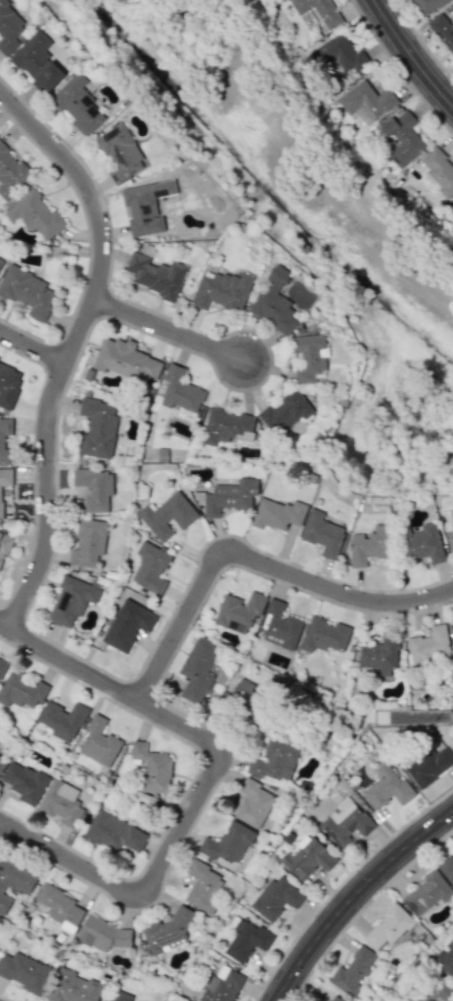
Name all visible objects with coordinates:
building: (427, 5)
building: (319, 12)
building: (9, 28)
building: (442, 31)
building: (340, 54)
road: (410, 55)
building: (37, 62)
building: (367, 101)
building: (78, 104)
building: (403, 137)
building: (121, 153)
building: (440, 170)
building: (10, 172)
building: (452, 204)
building: (146, 206)
building: (34, 214)
building: (1, 262)
building: (156, 275)
building: (27, 291)
building: (222, 291)
building: (275, 302)
road: (169, 328)
road: (33, 346)
road: (74, 346)
building: (310, 357)
building: (126, 360)
building: (9, 384)
building: (180, 390)
building: (286, 411)
building: (227, 426)
building: (97, 428)
building: (2, 440)
building: (4, 484)
building: (94, 488)
building: (228, 497)
building: (278, 514)
building: (168, 515)
building: (452, 520)
building: (323, 533)
building: (88, 542)
building: (422, 543)
building: (370, 545)
building: (4, 546)
road: (253, 559)
building: (150, 568)
building: (71, 600)
building: (238, 611)
building: (452, 620)
building: (128, 624)
building: (279, 625)
building: (324, 635)
building: (429, 645)
building: (380, 655)
building: (2, 665)
building: (198, 669)
building: (21, 690)
building: (62, 720)
road: (183, 728)
building: (99, 742)
building: (0, 753)
building: (274, 760)
building: (1, 765)
building: (431, 766)
building: (152, 767)
building: (24, 782)
building: (386, 787)
building: (61, 802)
building: (255, 803)
building: (345, 822)
building: (114, 832)
building: (228, 842)
building: (307, 858)
road: (71, 861)
building: (446, 868)
building: (14, 881)
building: (203, 886)
building: (427, 893)
road: (353, 896)
building: (277, 897)
building: (60, 907)
building: (389, 926)
building: (166, 933)
building: (102, 934)
building: (245, 939)
building: (445, 958)
building: (353, 971)
building: (25, 972)
building: (222, 985)
building: (74, 987)
building: (433, 990)
building: (120, 996)
building: (335, 999)

